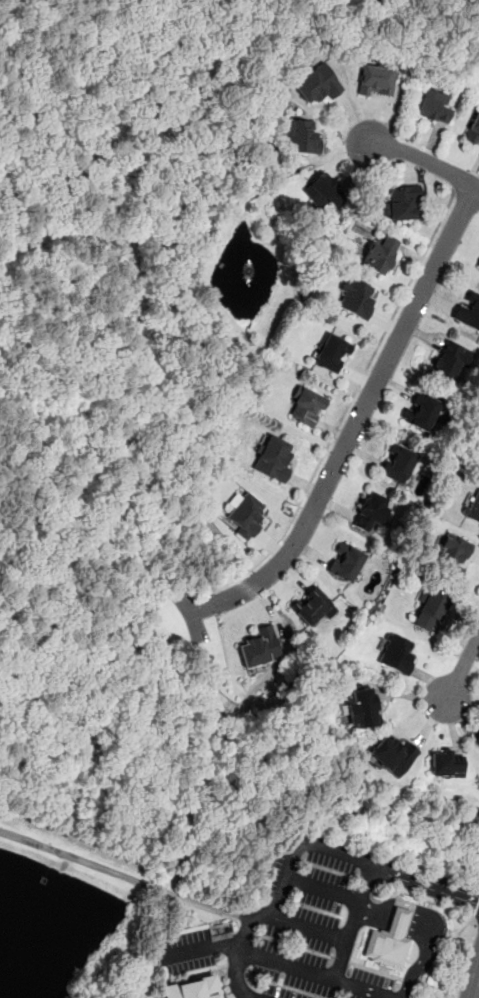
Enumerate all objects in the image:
building: (376, 80)
building: (316, 83)
building: (435, 105)
building: (473, 128)
building: (300, 136)
road: (422, 158)
building: (323, 190)
road: (466, 197)
building: (401, 203)
building: (380, 253)
building: (478, 263)
building: (354, 297)
building: (468, 311)
building: (332, 352)
building: (451, 358)
road: (349, 400)
building: (306, 404)
building: (421, 409)
road: (356, 424)
building: (272, 457)
building: (397, 462)
building: (473, 507)
building: (370, 510)
building: (246, 512)
building: (450, 551)
building: (345, 561)
building: (312, 605)
building: (430, 608)
building: (259, 647)
building: (396, 653)
road: (463, 668)
building: (363, 709)
building: (477, 738)
building: (392, 754)
building: (446, 763)
road: (342, 853)
road: (124, 875)
road: (322, 888)
road: (428, 900)
road: (476, 909)
road: (353, 922)
road: (310, 925)
parking lot: (289, 936)
building: (389, 941)
road: (199, 948)
road: (448, 953)
road: (236, 958)
road: (312, 974)
building: (191, 988)
road: (478, 996)

